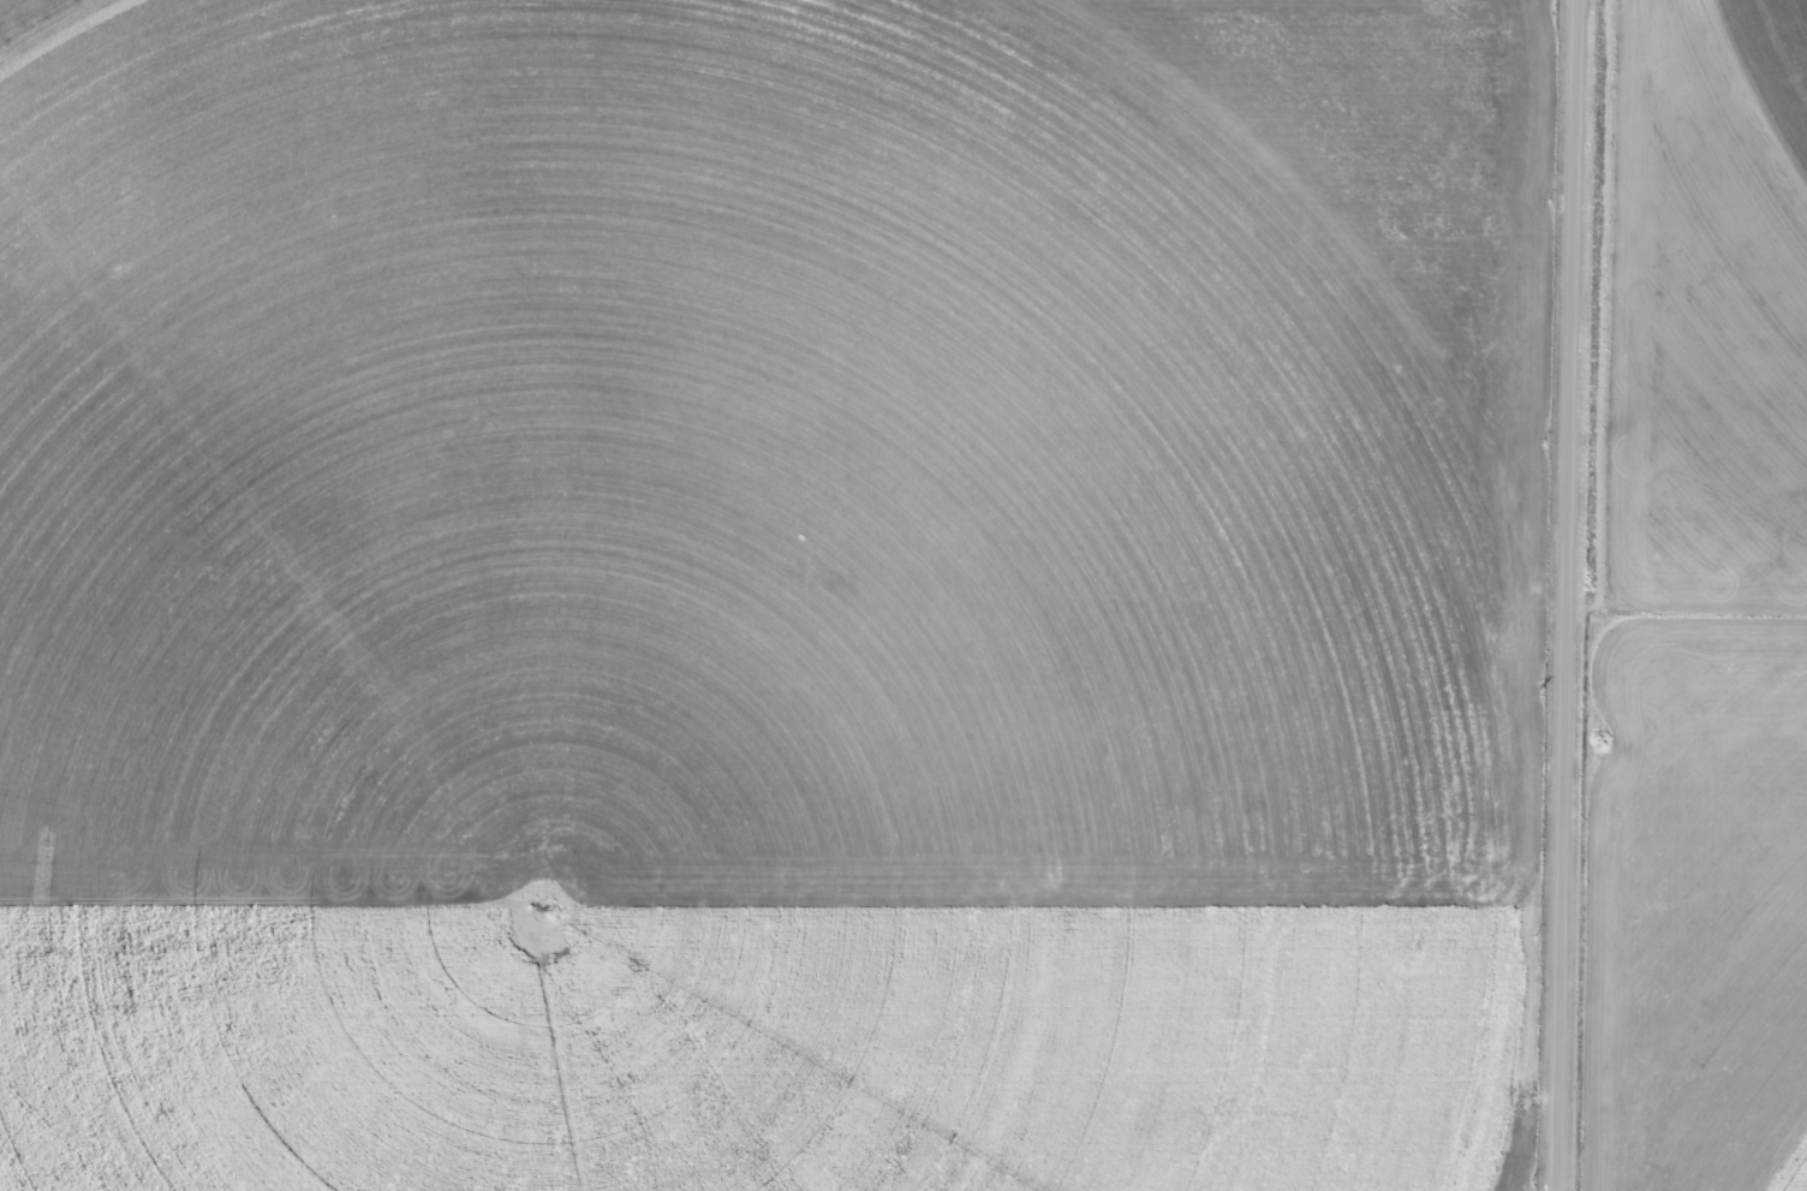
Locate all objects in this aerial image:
road: (1568, 595)

